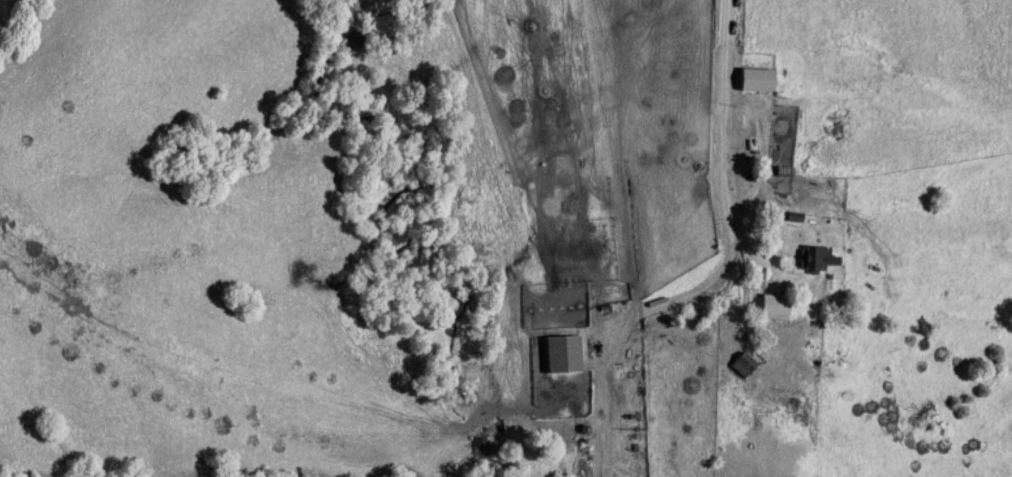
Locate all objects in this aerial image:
building: (824, 260)
road: (721, 272)
building: (832, 339)
building: (569, 355)
building: (748, 365)

